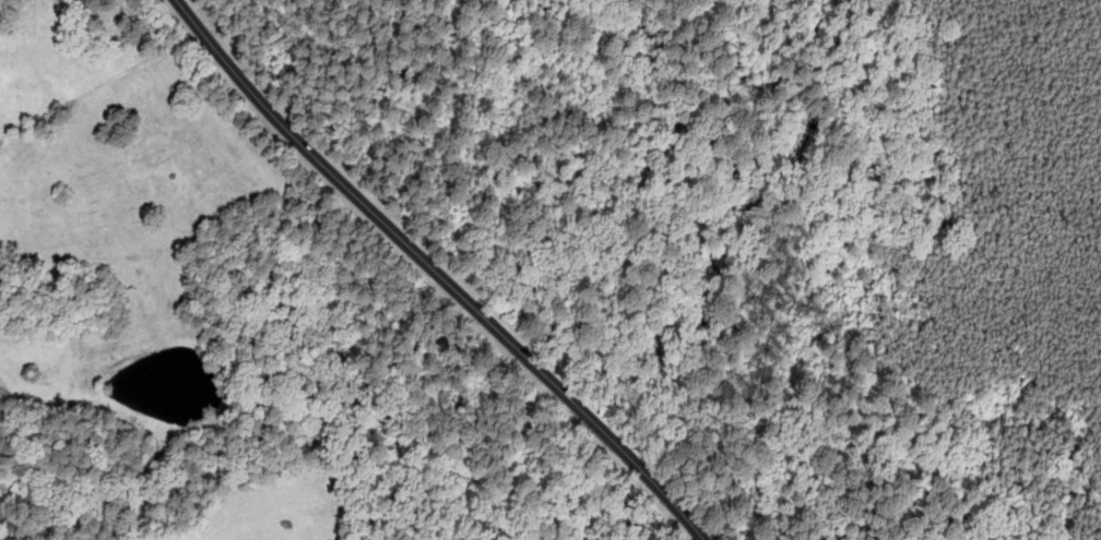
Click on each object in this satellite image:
road: (438, 273)

